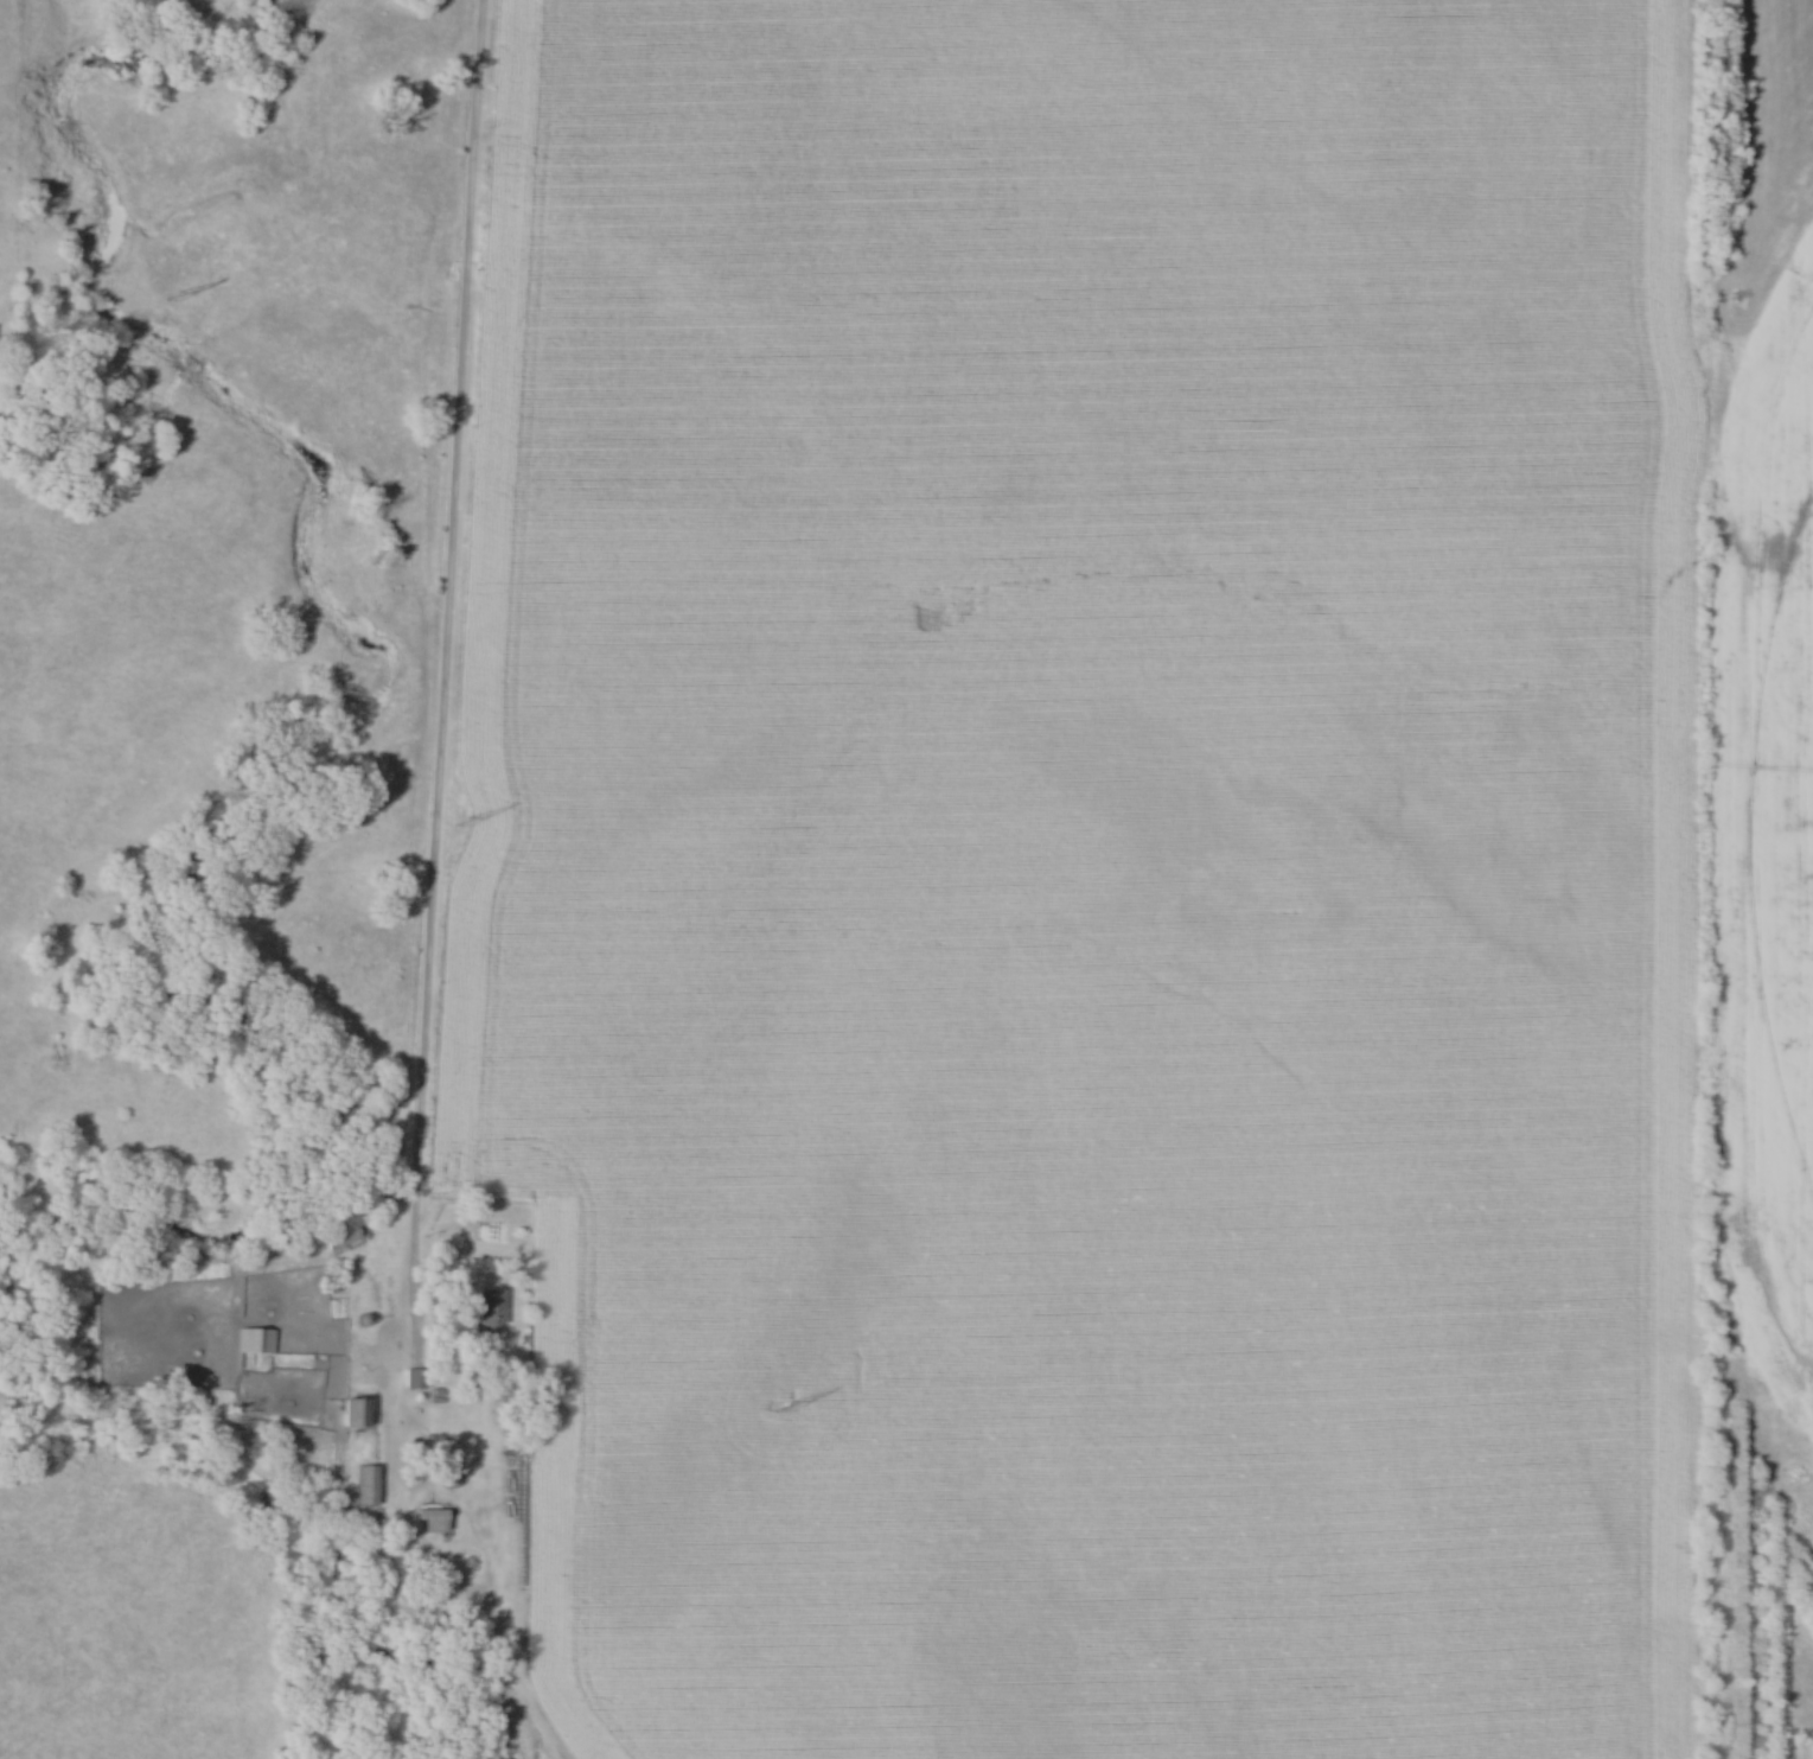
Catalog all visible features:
power tower: (168, 295)
road: (438, 664)
river: (392, 684)
power tower: (459, 821)
building: (391, 1177)
building: (337, 1238)
building: (485, 1311)
building: (250, 1340)
building: (410, 1378)
power tower: (783, 1410)
building: (350, 1413)
building: (359, 1485)
river: (270, 1508)
building: (421, 1591)

